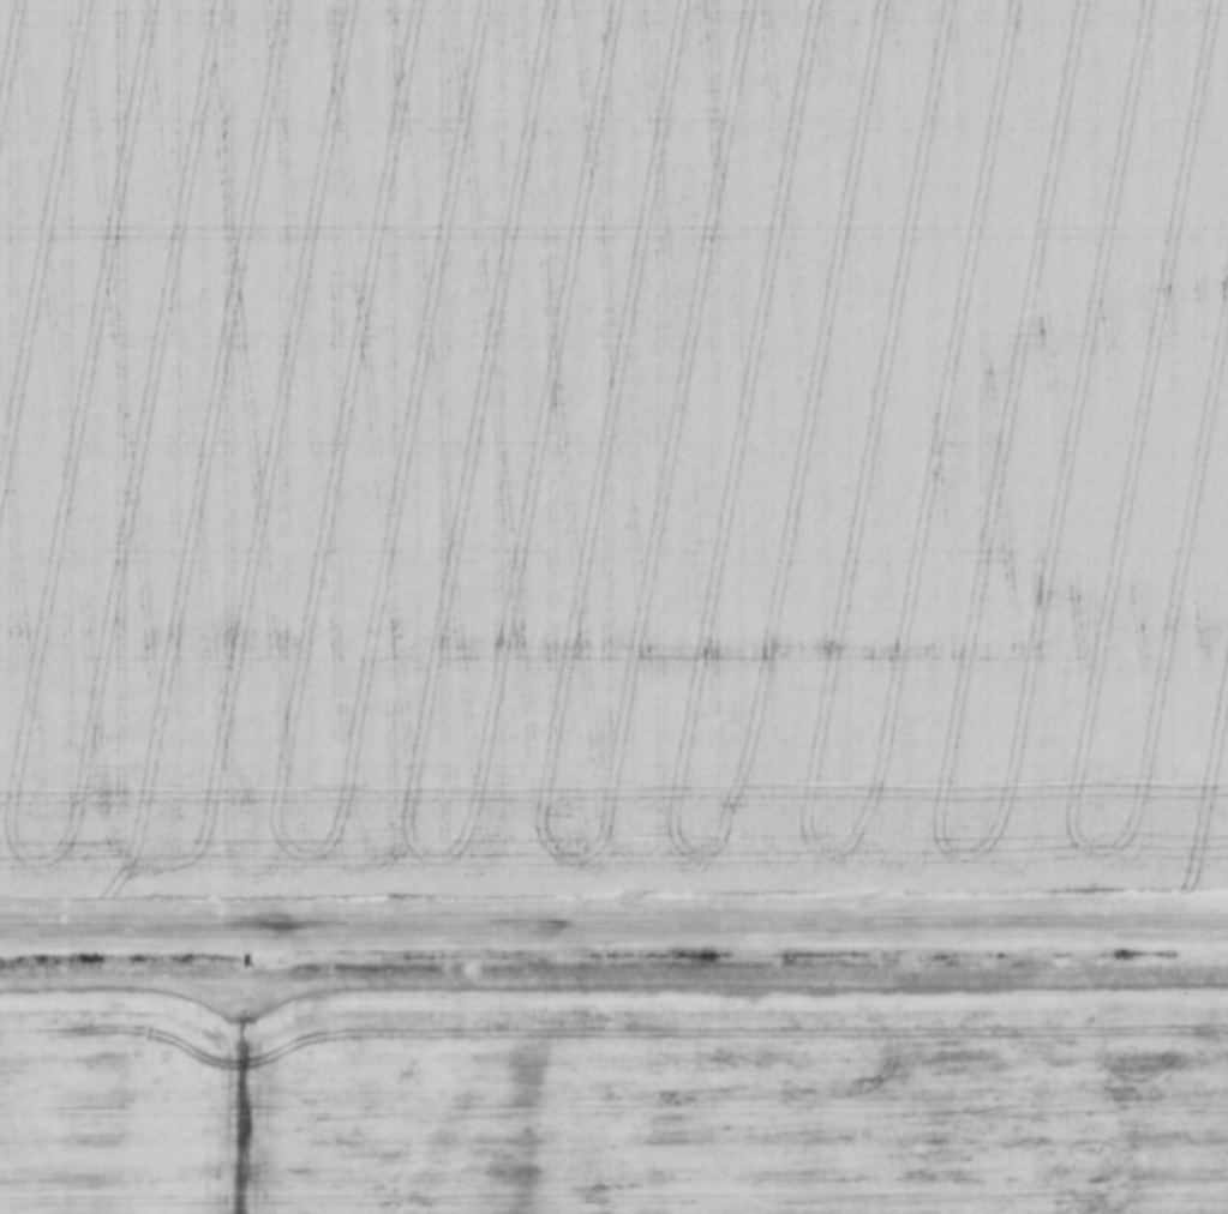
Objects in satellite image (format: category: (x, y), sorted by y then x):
crop: (612, 444)
road: (613, 921)
crop: (619, 1098)

